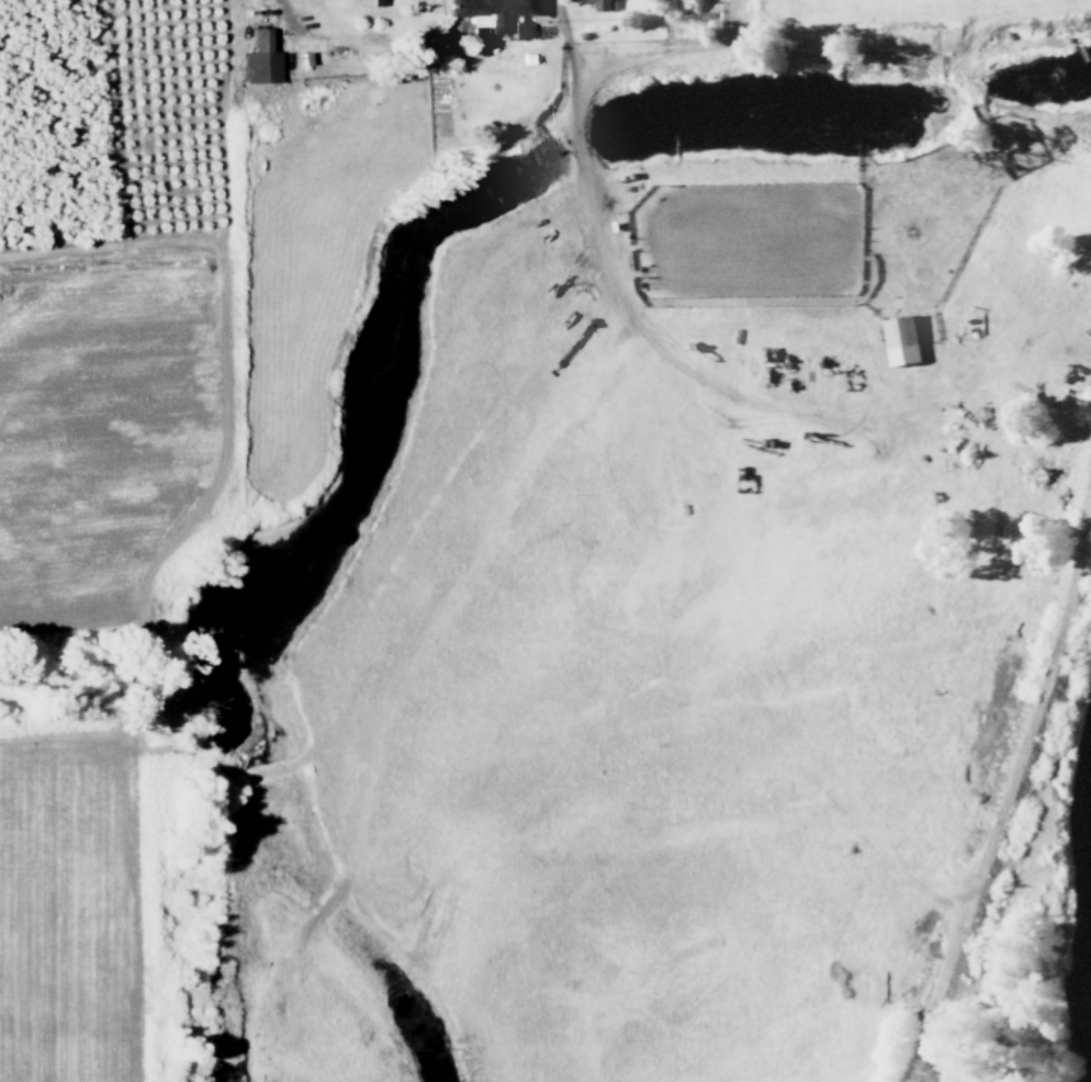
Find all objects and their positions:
building: (600, 3)
building: (490, 10)
building: (518, 27)
building: (260, 57)
building: (900, 338)

